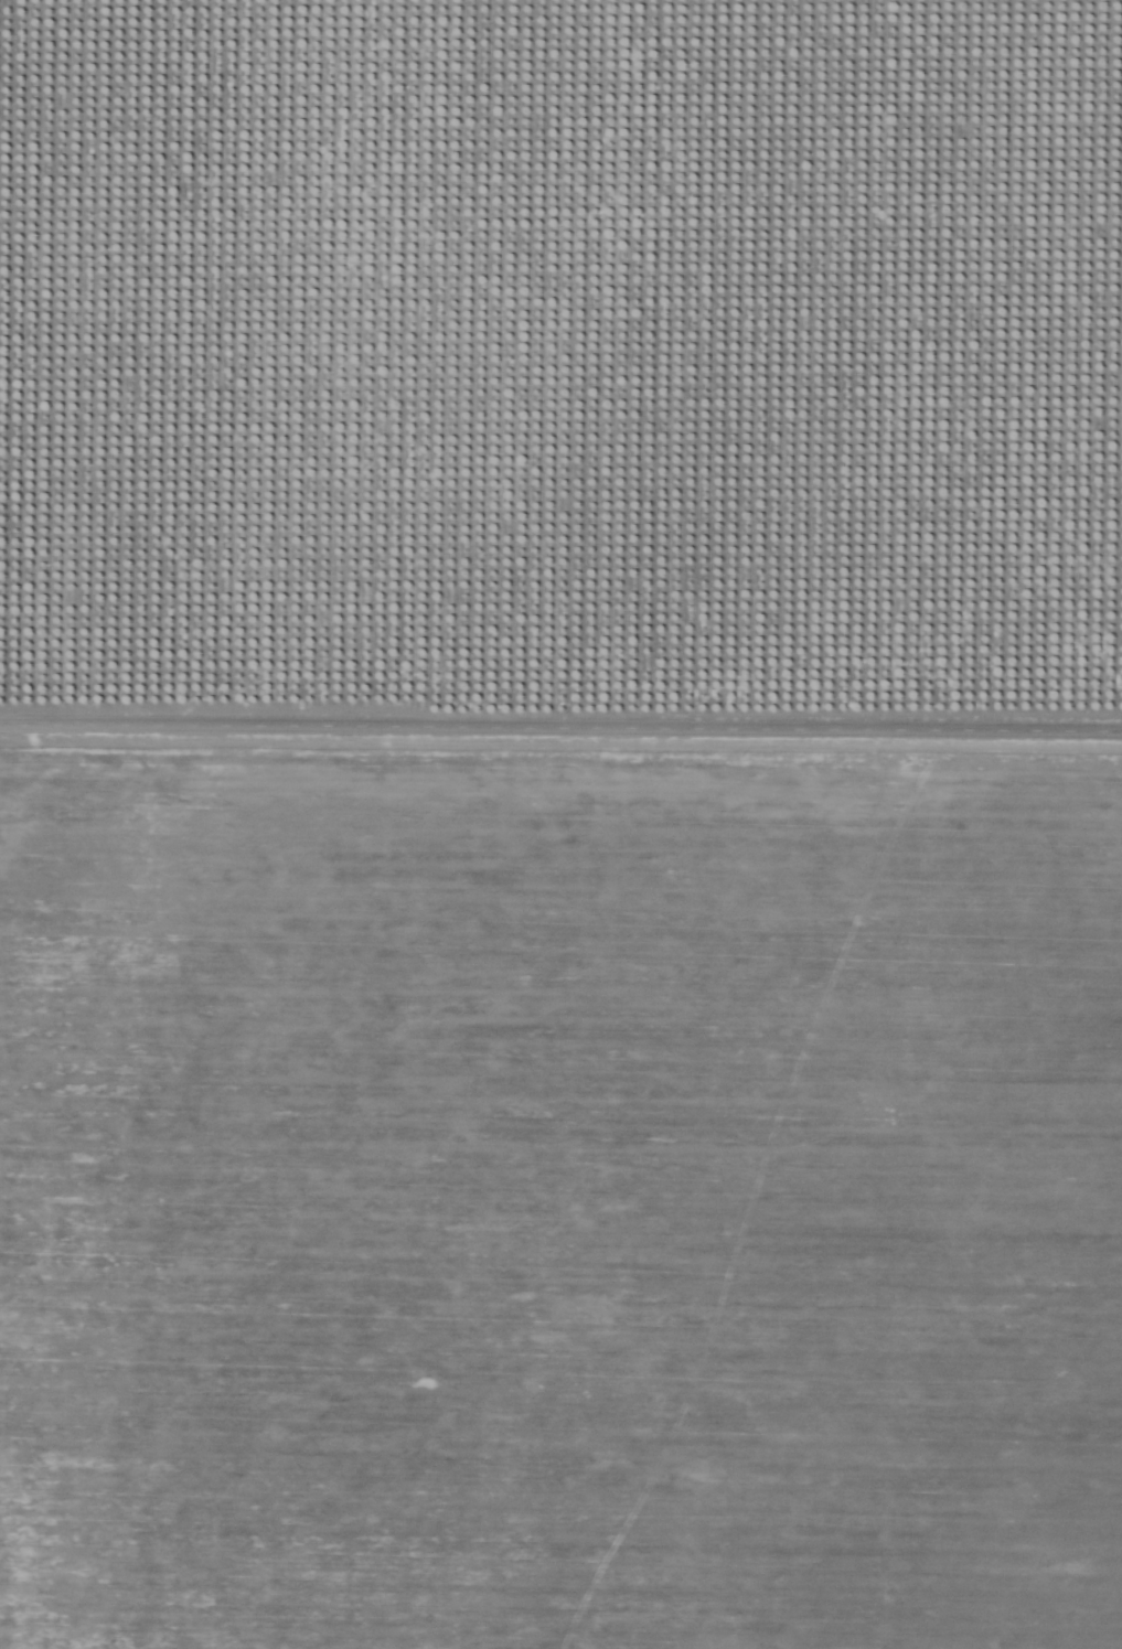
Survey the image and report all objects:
crop: (562, 368)
road: (560, 718)

